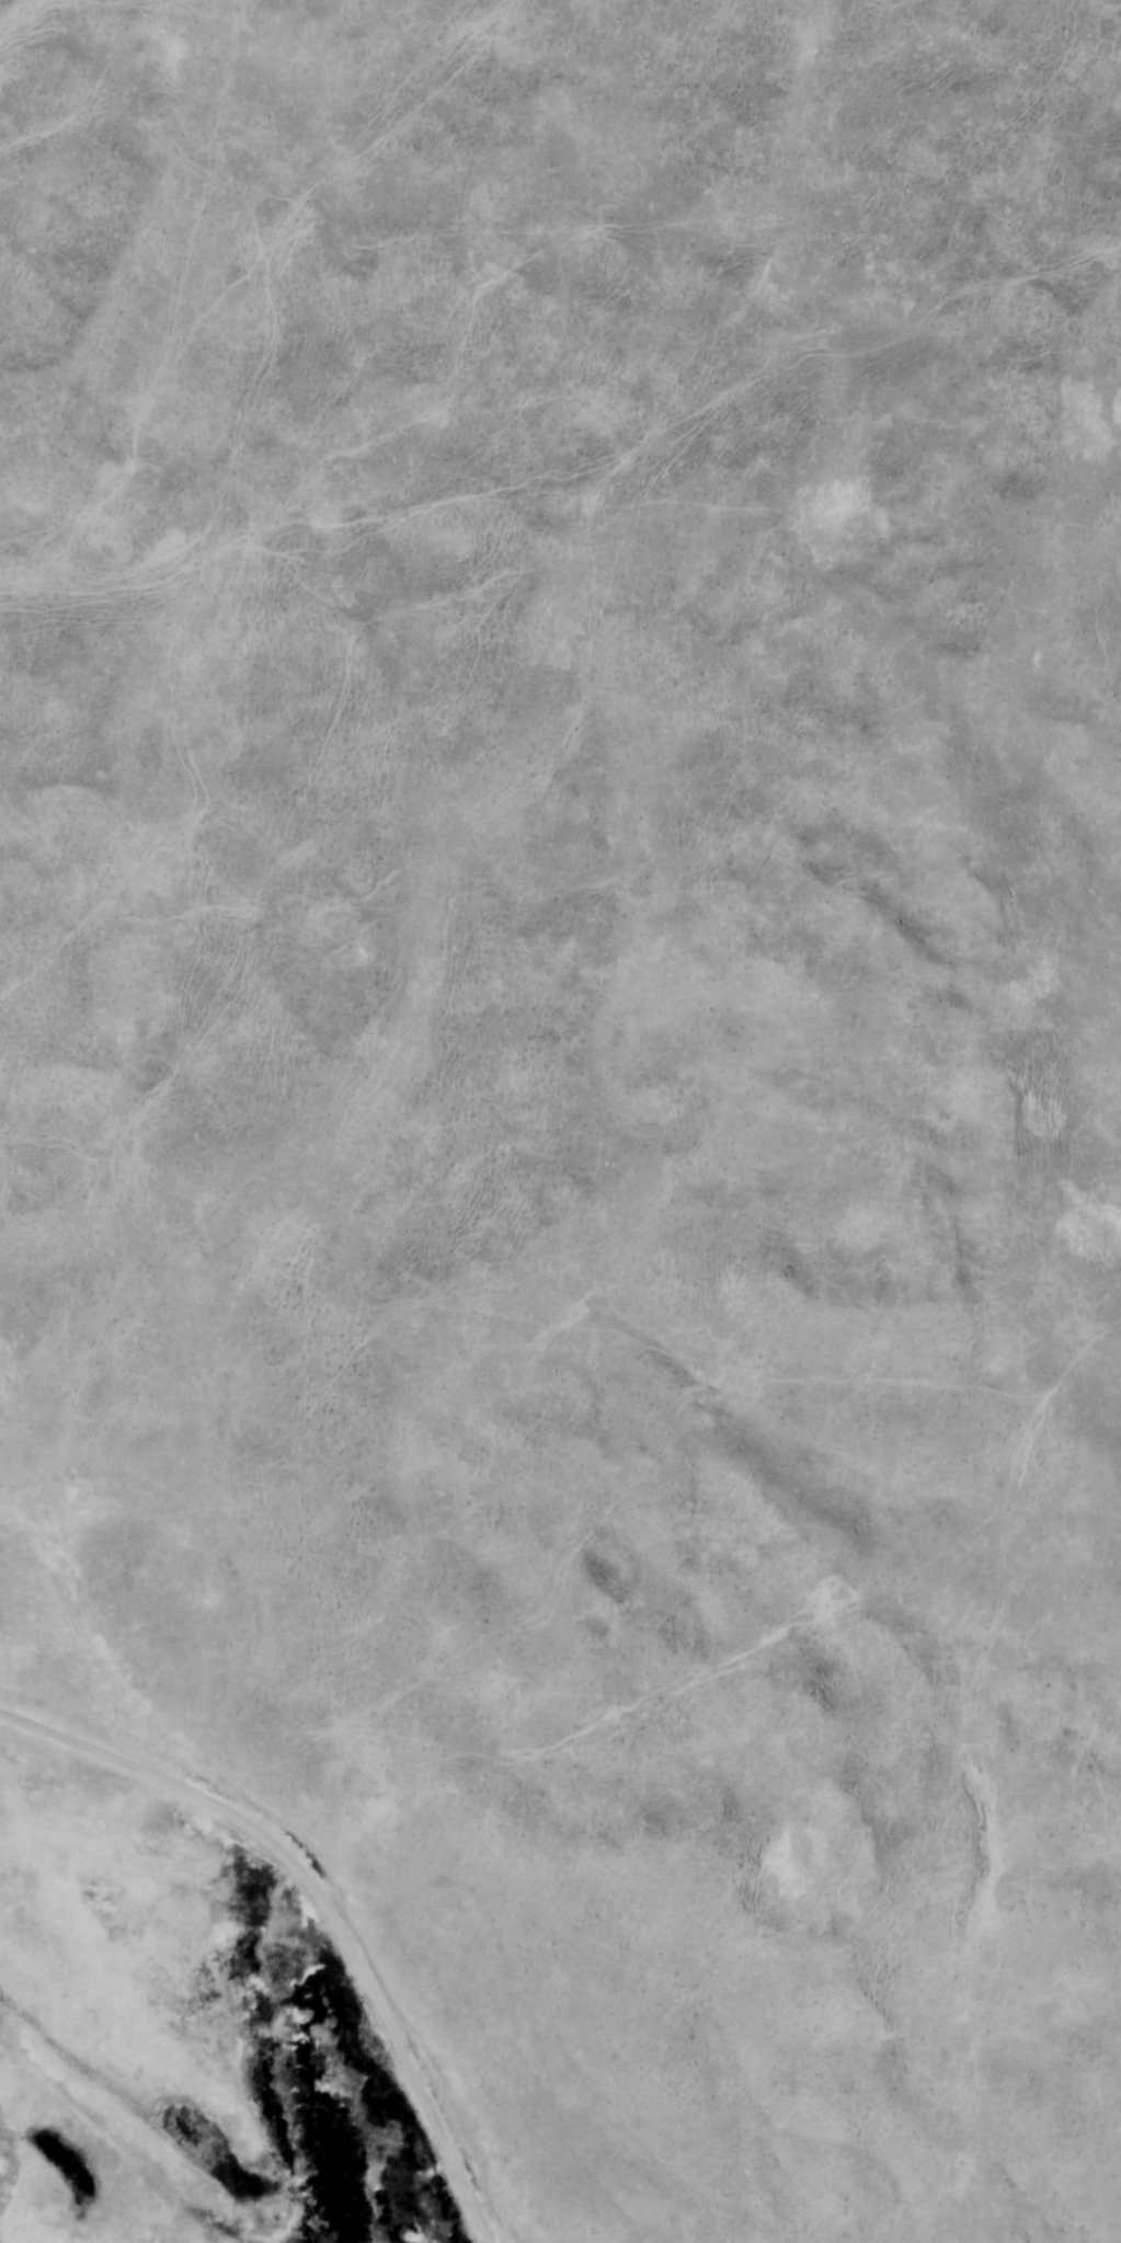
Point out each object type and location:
road: (323, 1898)

